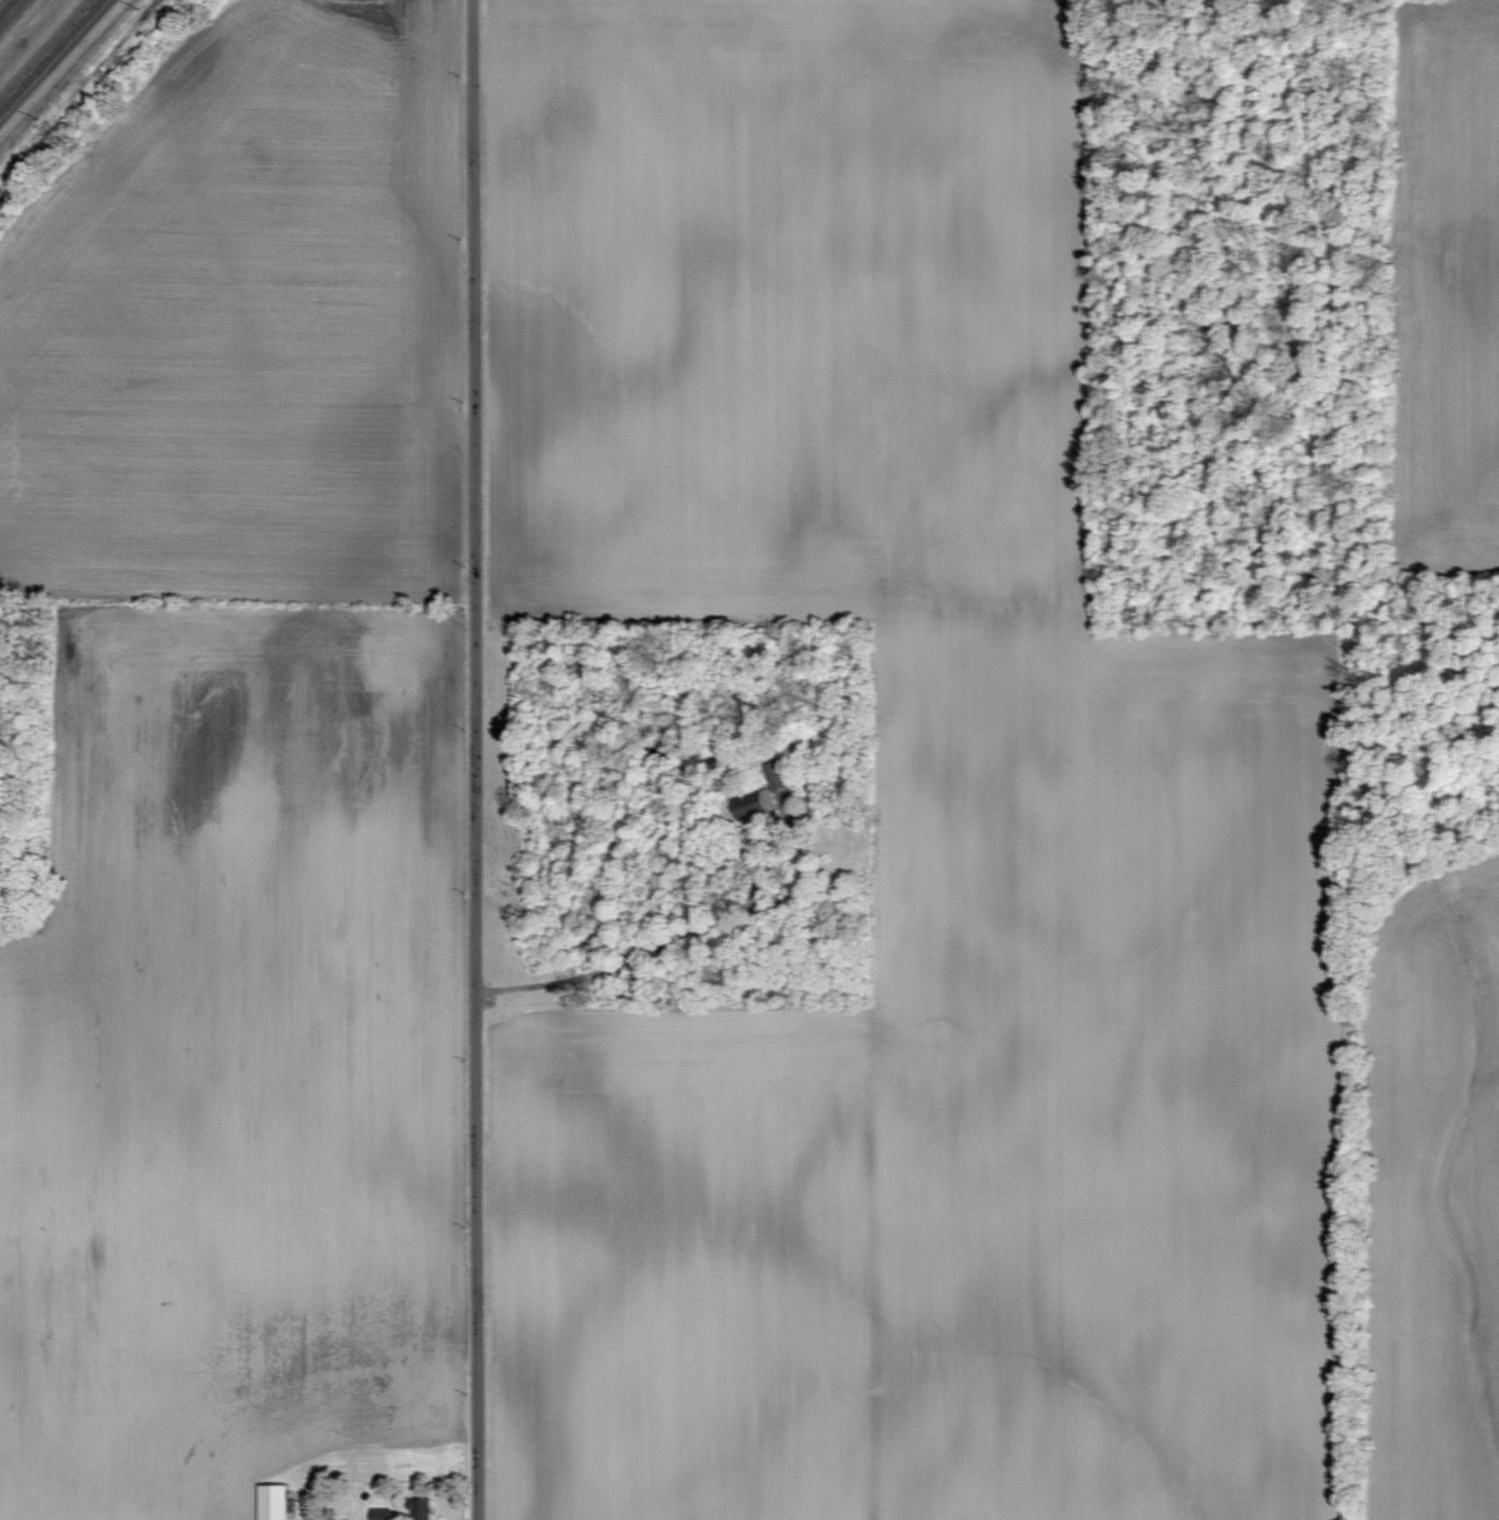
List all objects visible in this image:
road: (9, 10)
road: (48, 53)
road: (476, 760)
building: (778, 774)
building: (755, 804)
road: (668, 940)
building: (274, 1502)
building: (421, 1509)
building: (382, 1514)

